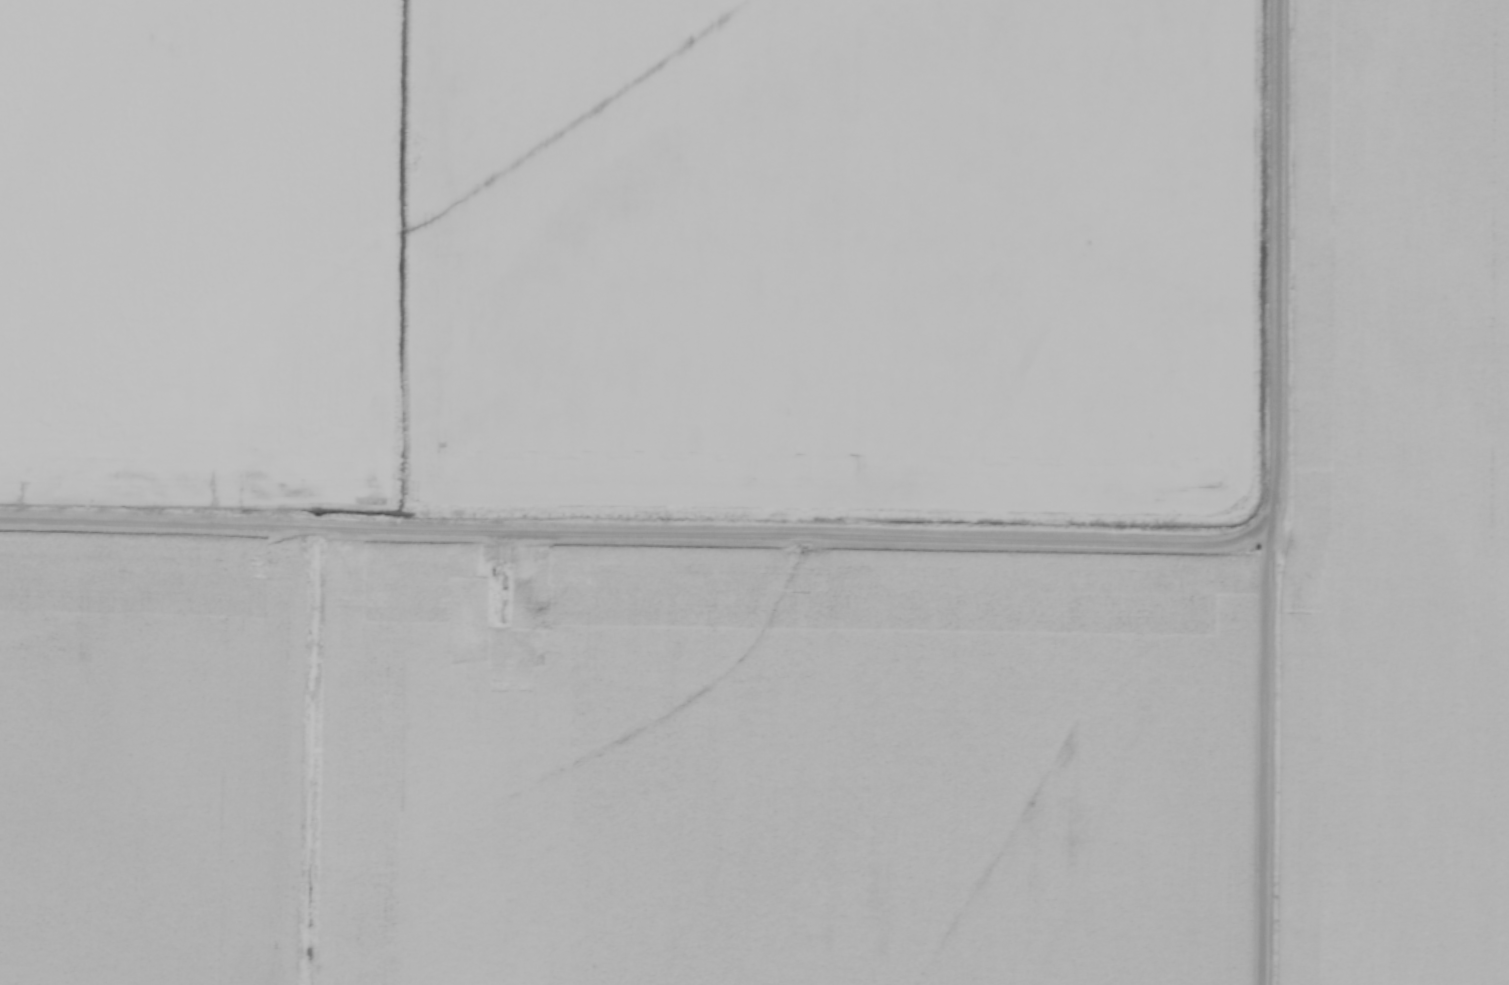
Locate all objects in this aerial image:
road: (1268, 492)
road: (633, 502)

